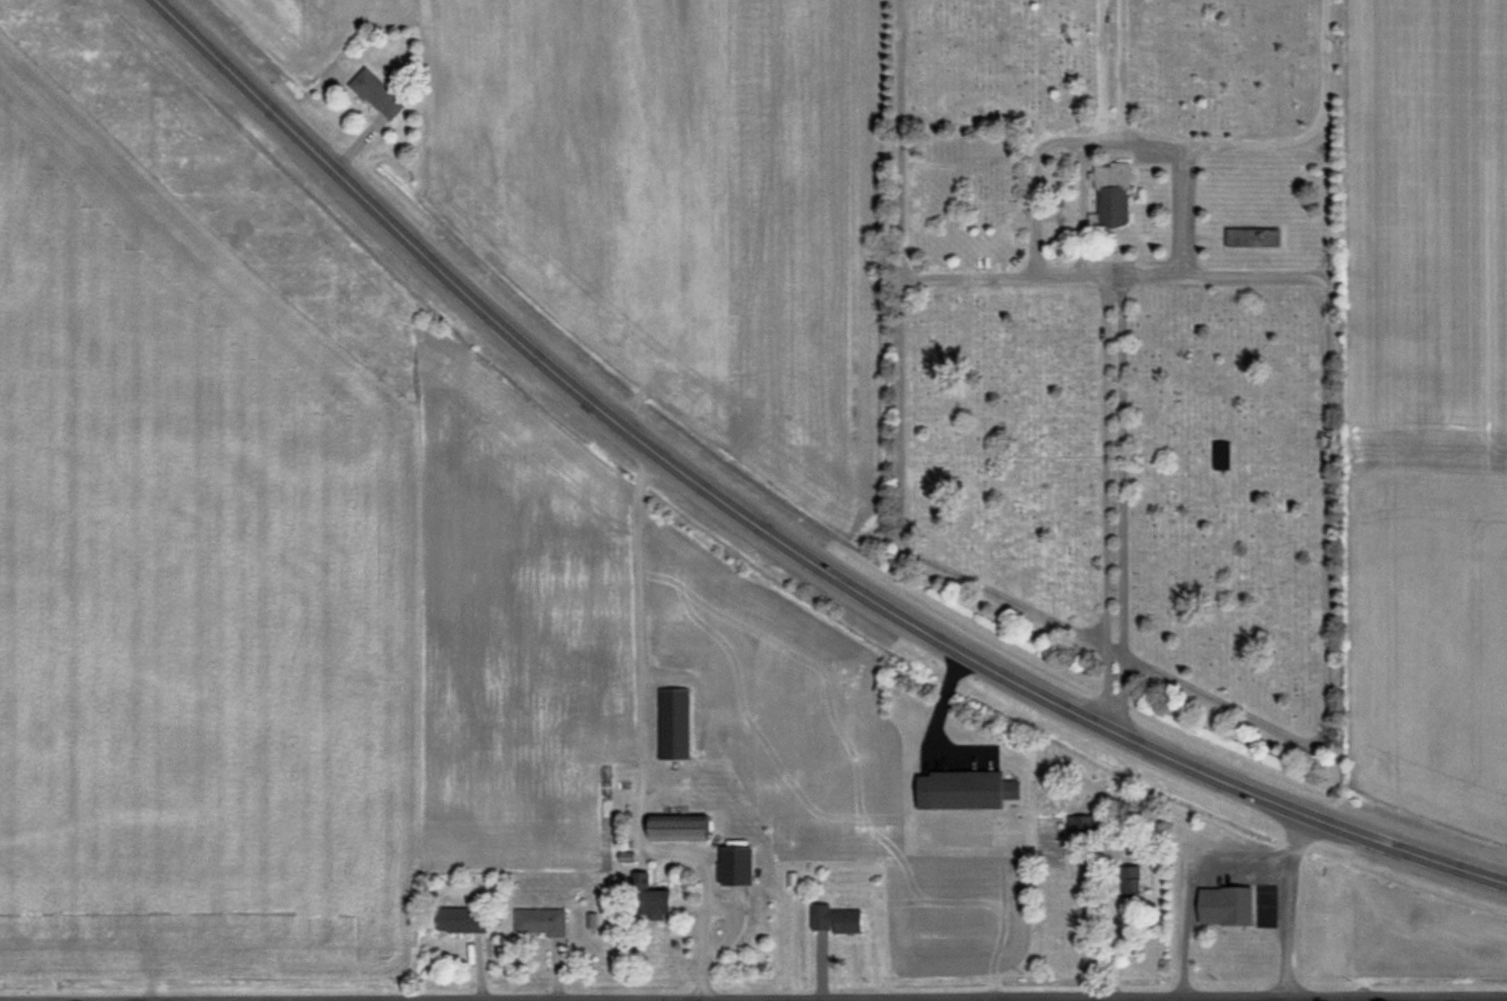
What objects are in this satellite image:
road: (1116, 70)
building: (381, 95)
road: (1108, 141)
building: (1115, 196)
building: (1256, 237)
road: (1112, 276)
park: (1125, 339)
building: (1224, 456)
road: (1115, 504)
road: (773, 534)
building: (677, 723)
building: (977, 790)
building: (685, 828)
building: (1084, 829)
building: (742, 865)
road: (703, 881)
building: (1132, 881)
road: (1182, 886)
building: (661, 902)
road: (1278, 904)
building: (1230, 906)
building: (839, 920)
building: (463, 921)
building: (543, 924)
road: (1106, 926)
road: (1394, 1000)

